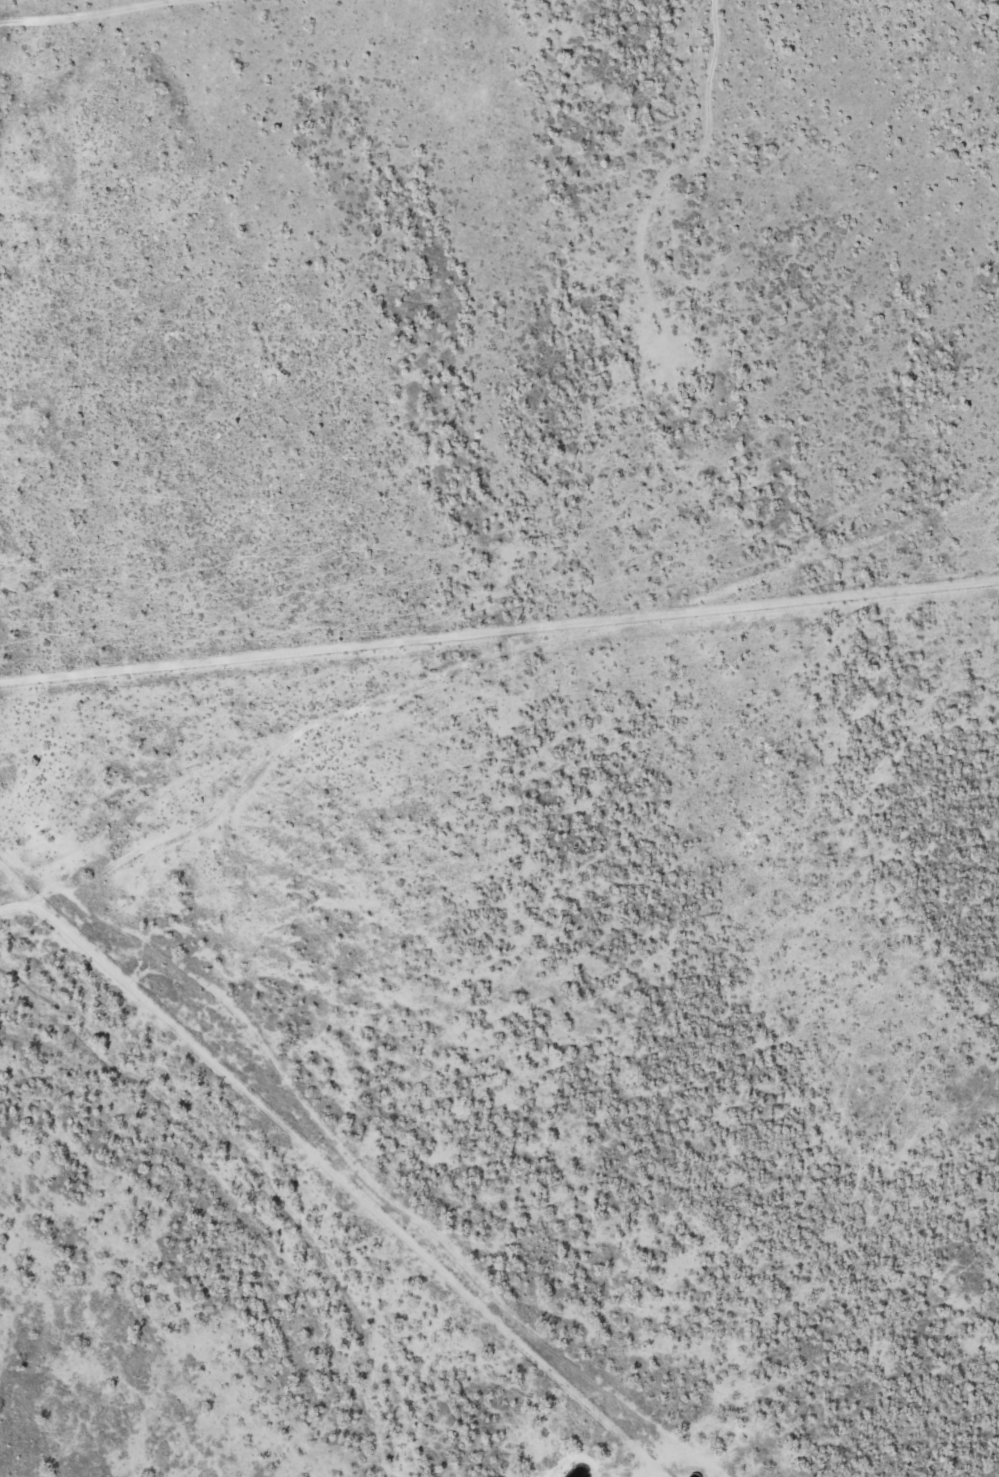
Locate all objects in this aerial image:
road: (480, 697)
road: (395, 1195)

